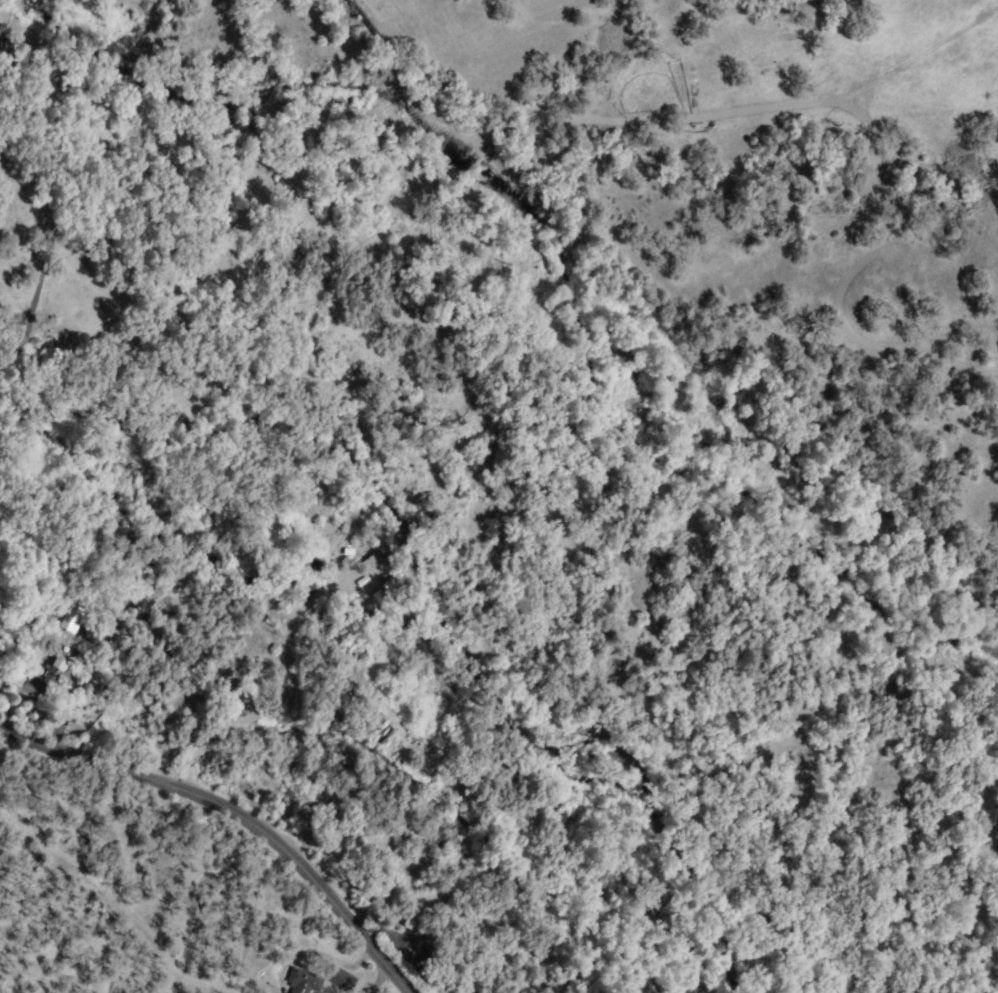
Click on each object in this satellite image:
river: (247, 125)
road: (311, 251)
river: (704, 414)
building: (387, 589)
road: (235, 813)
building: (412, 936)
building: (427, 953)
building: (422, 976)
building: (303, 982)

